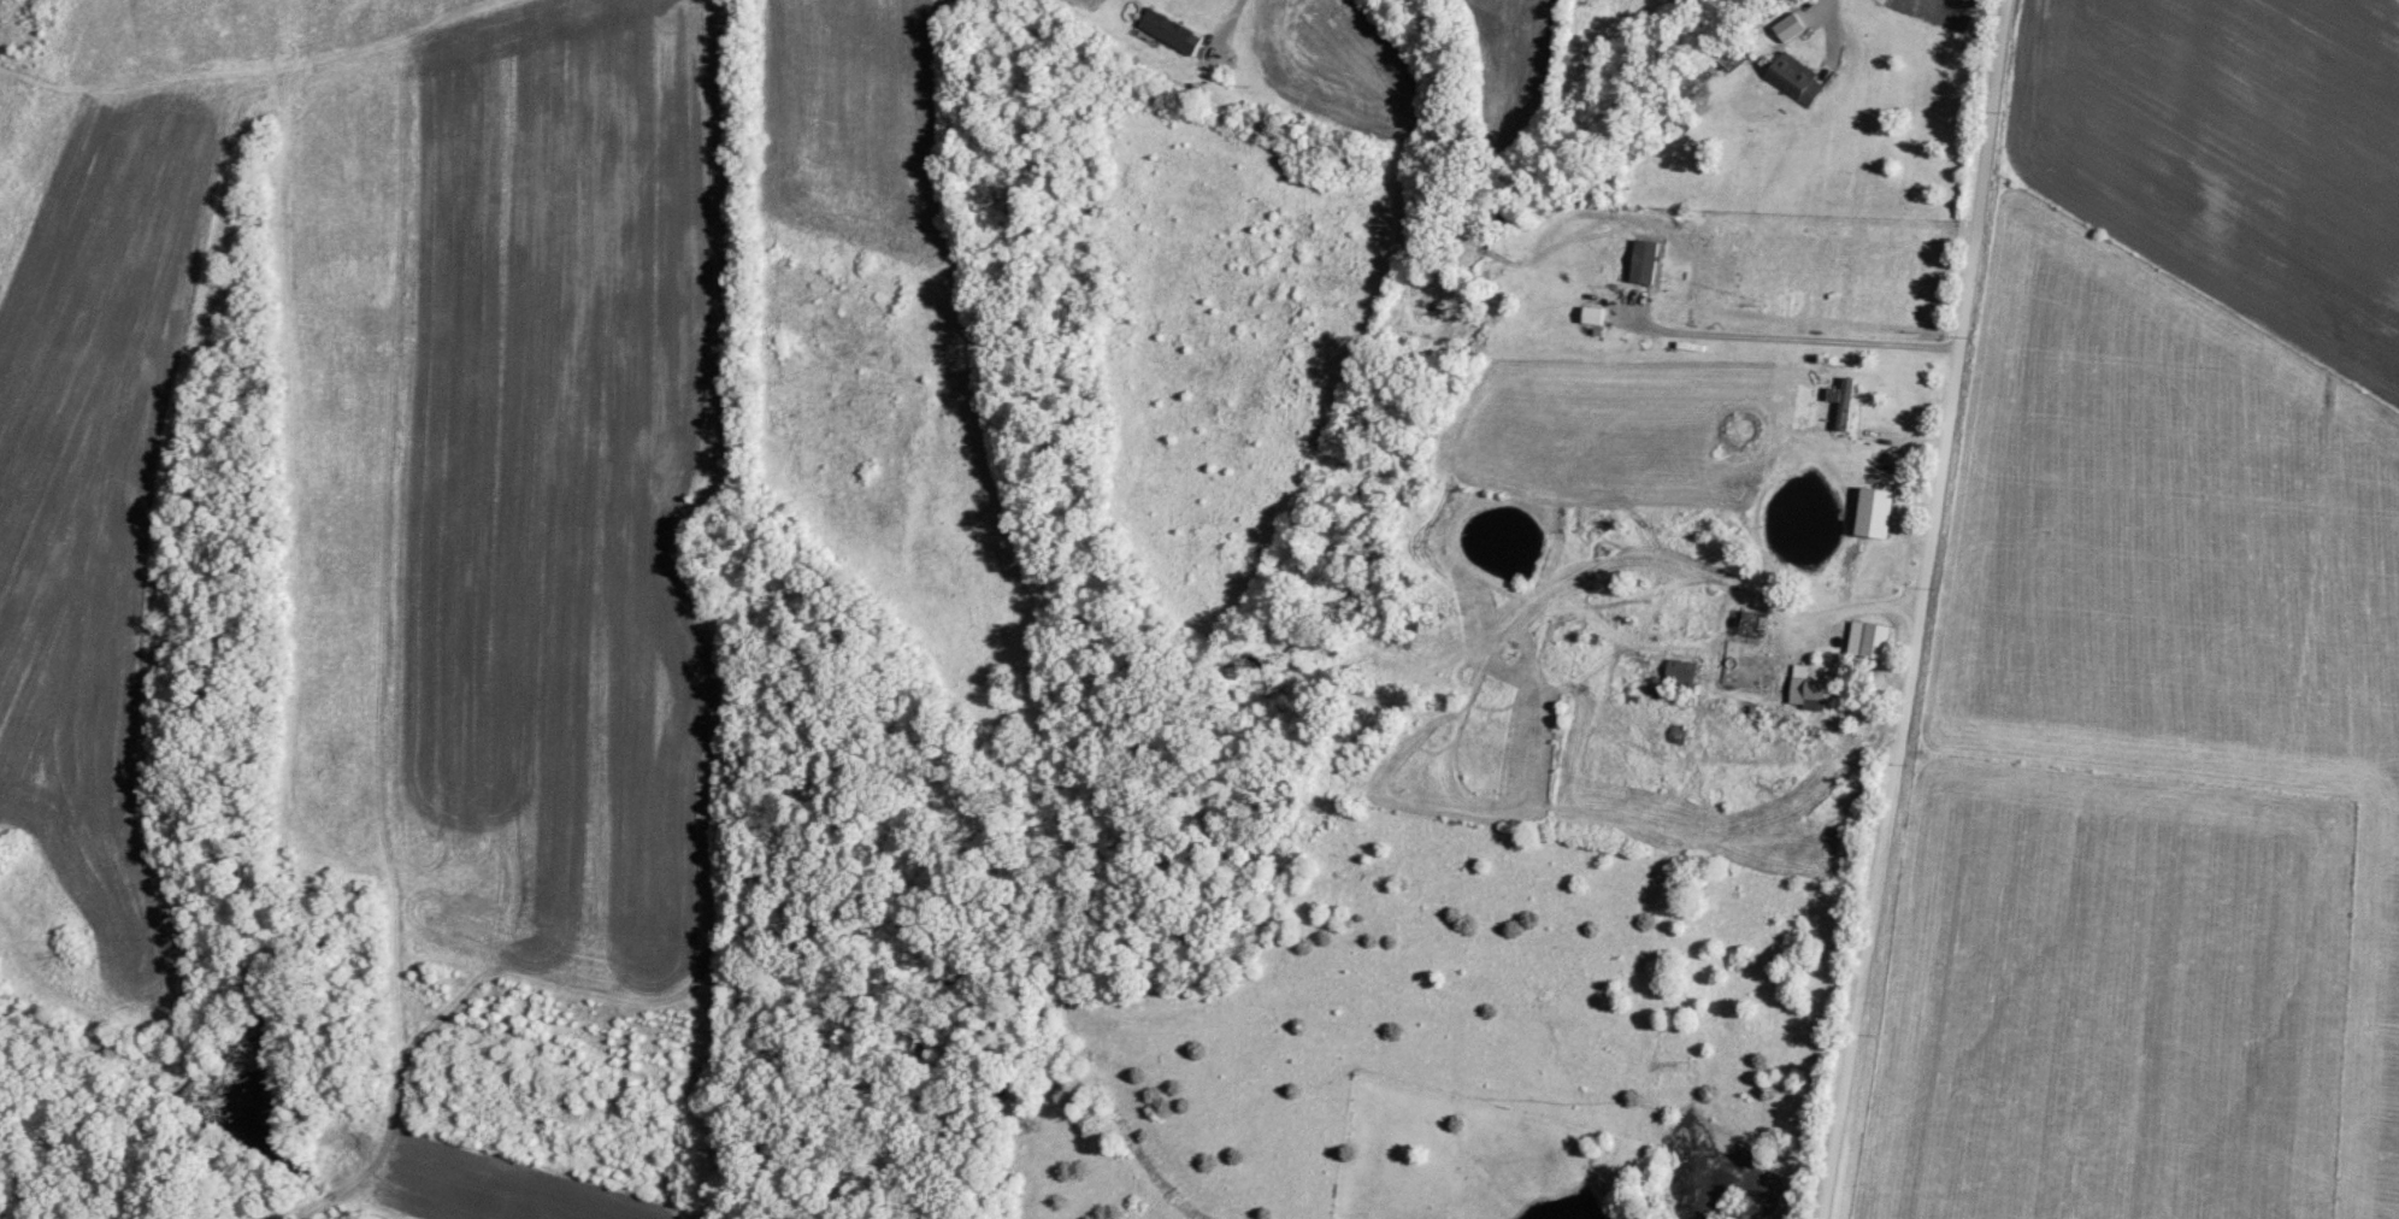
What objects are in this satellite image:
building: (1792, 26)
building: (1173, 30)
building: (1796, 79)
building: (1648, 260)
road: (1774, 337)
building: (1849, 402)
building: (1878, 512)
road: (1923, 609)
road: (1853, 613)
building: (1873, 638)
building: (1741, 670)
building: (1684, 671)
building: (1812, 689)

